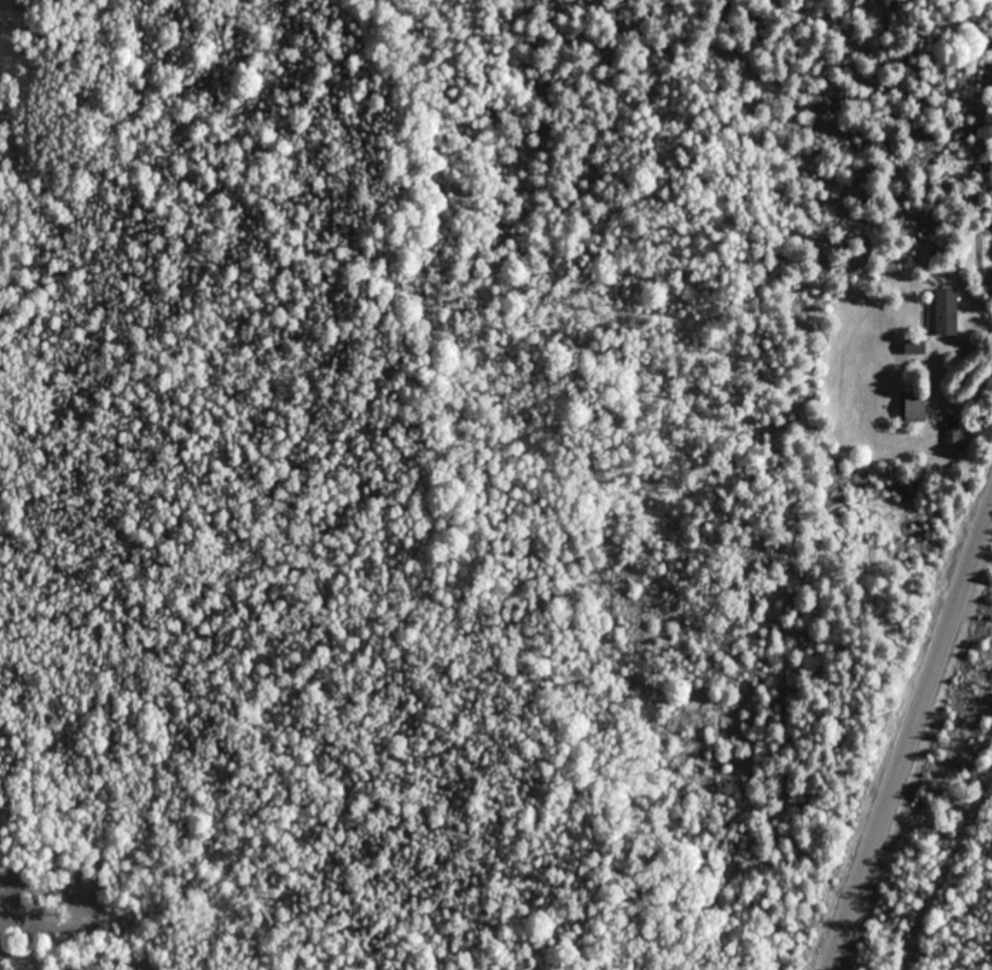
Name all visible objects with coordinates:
building: (945, 311)
road: (984, 345)
building: (913, 407)
building: (952, 427)
road: (911, 737)

